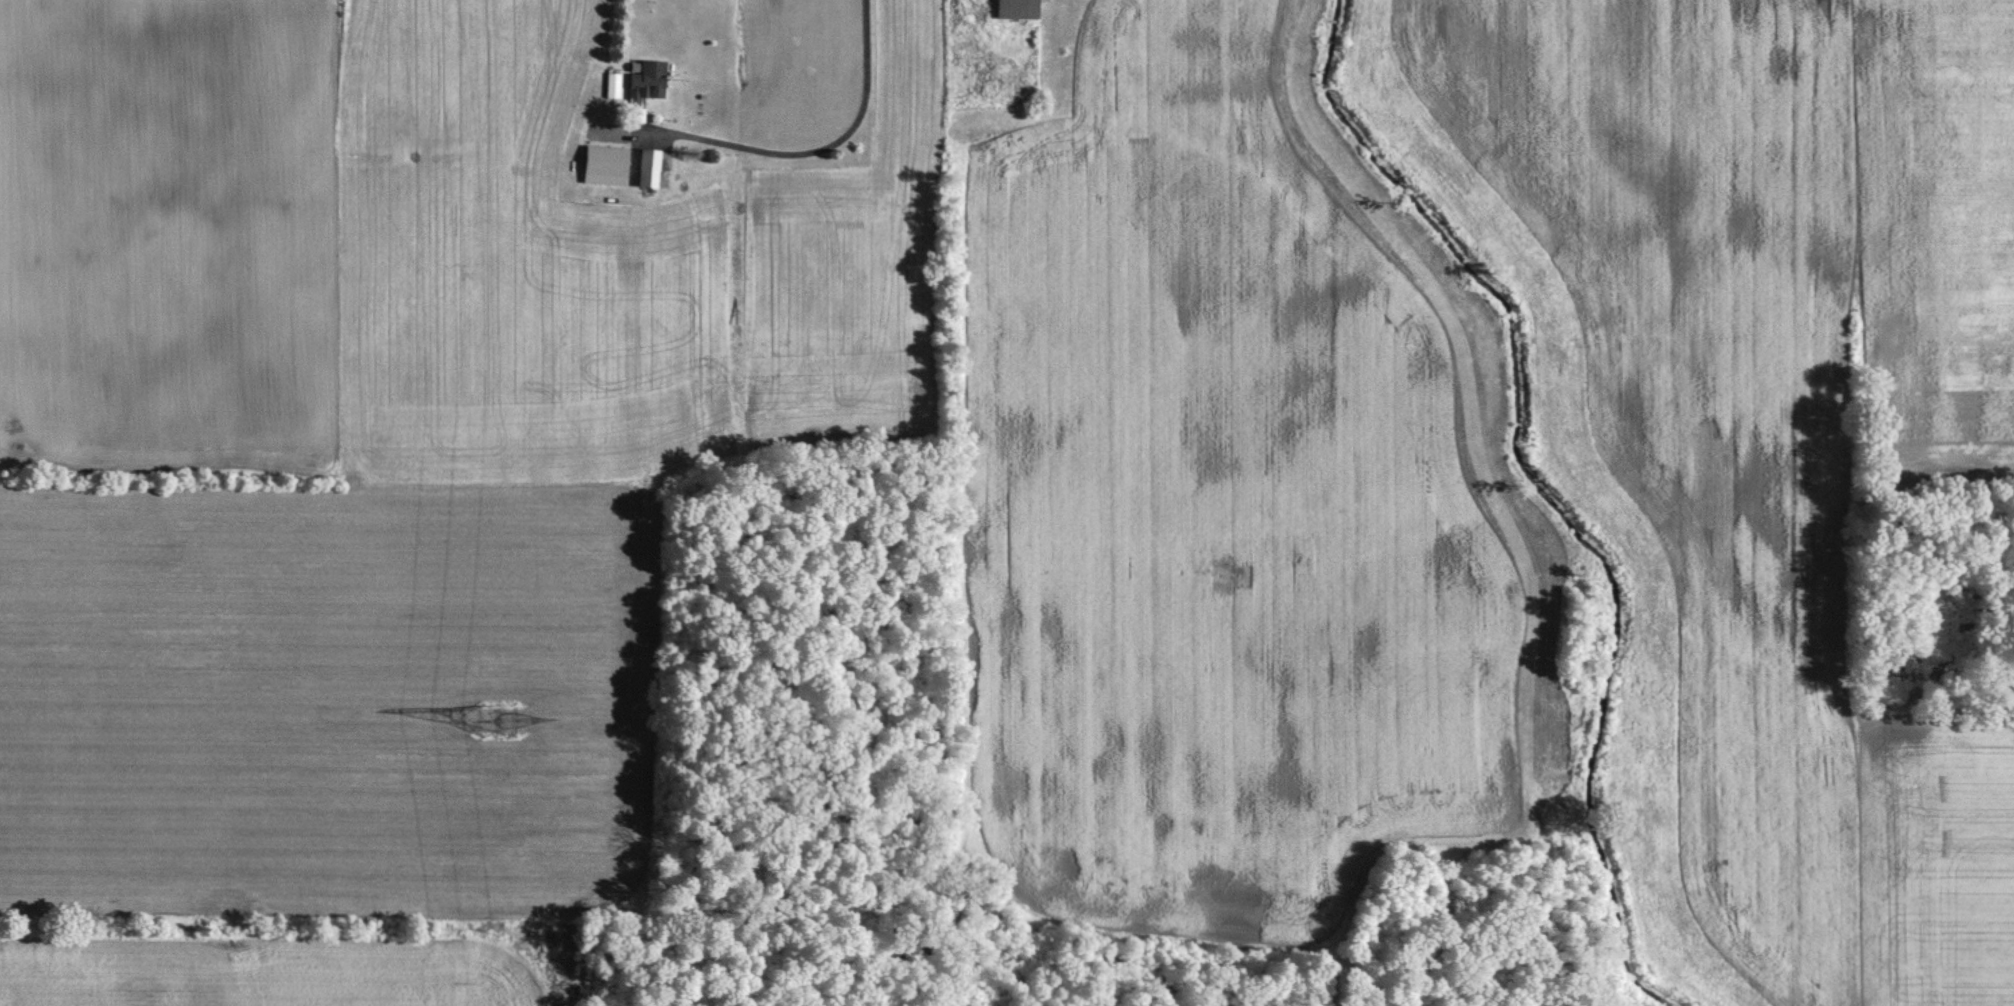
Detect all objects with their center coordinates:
building: (651, 80)
road: (820, 147)
building: (652, 166)
power tower: (500, 717)

